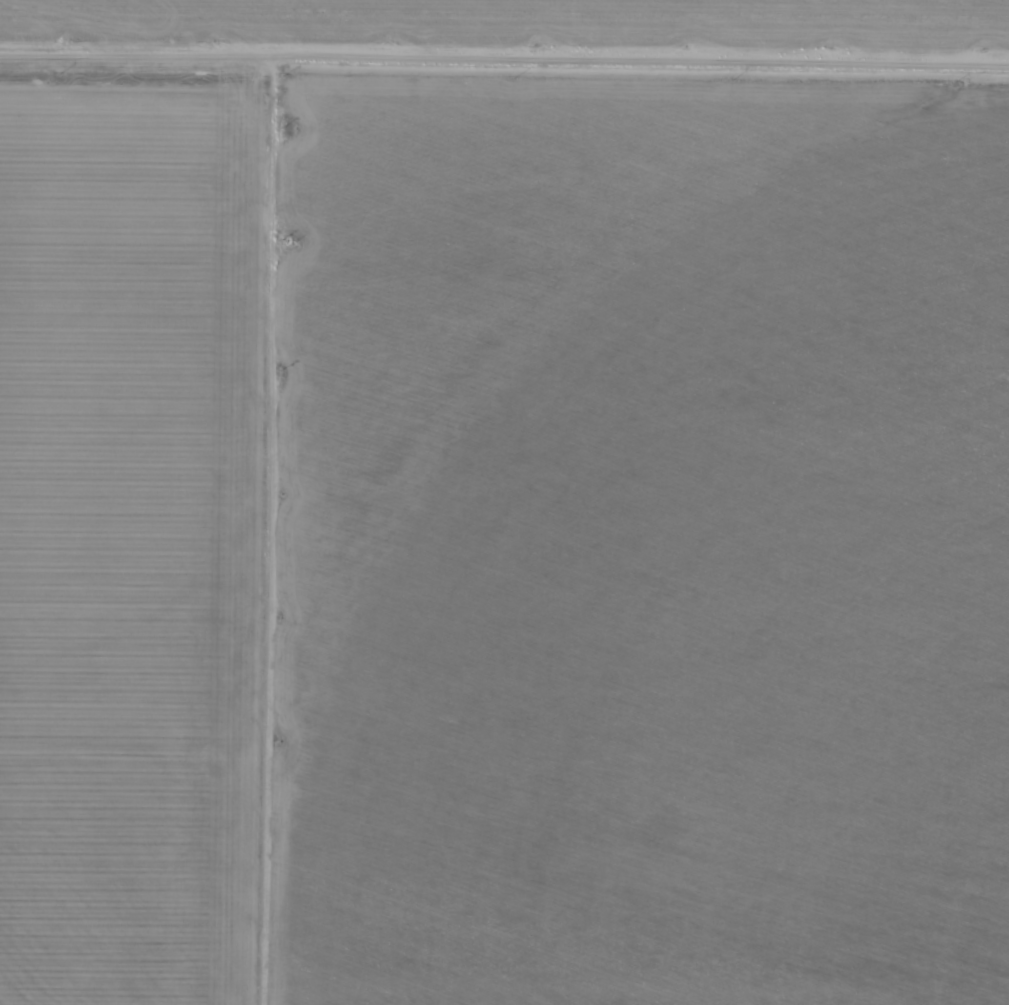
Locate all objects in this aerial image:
road: (416, 62)
road: (921, 68)
road: (269, 532)

